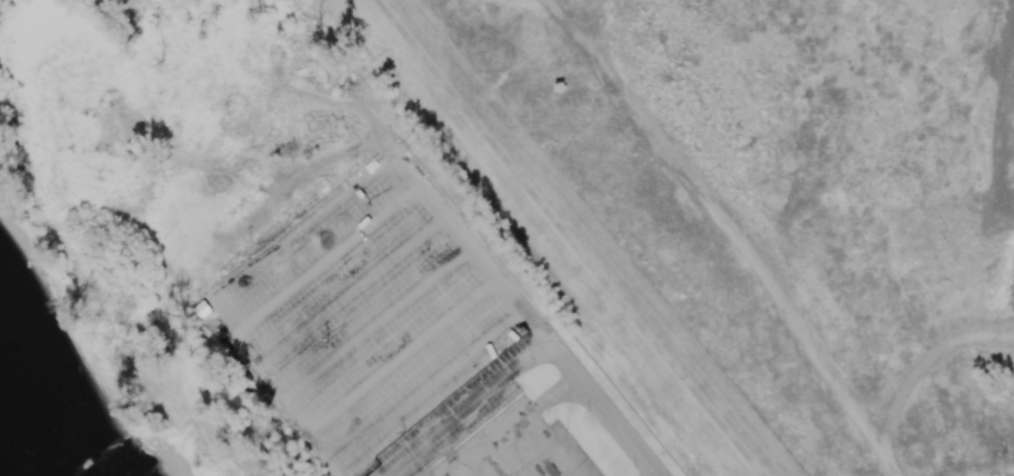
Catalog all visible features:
road: (566, 20)
road: (595, 20)
road: (298, 230)
road: (568, 237)
road: (732, 237)
road: (325, 265)
road: (351, 297)
road: (527, 315)
parking lot: (364, 322)
road: (376, 328)
road: (401, 360)
road: (923, 361)
road: (264, 389)
road: (426, 391)
road: (467, 410)
road: (516, 426)
road: (554, 445)
parking lot: (518, 448)
road: (509, 459)
road: (883, 460)
road: (464, 473)

